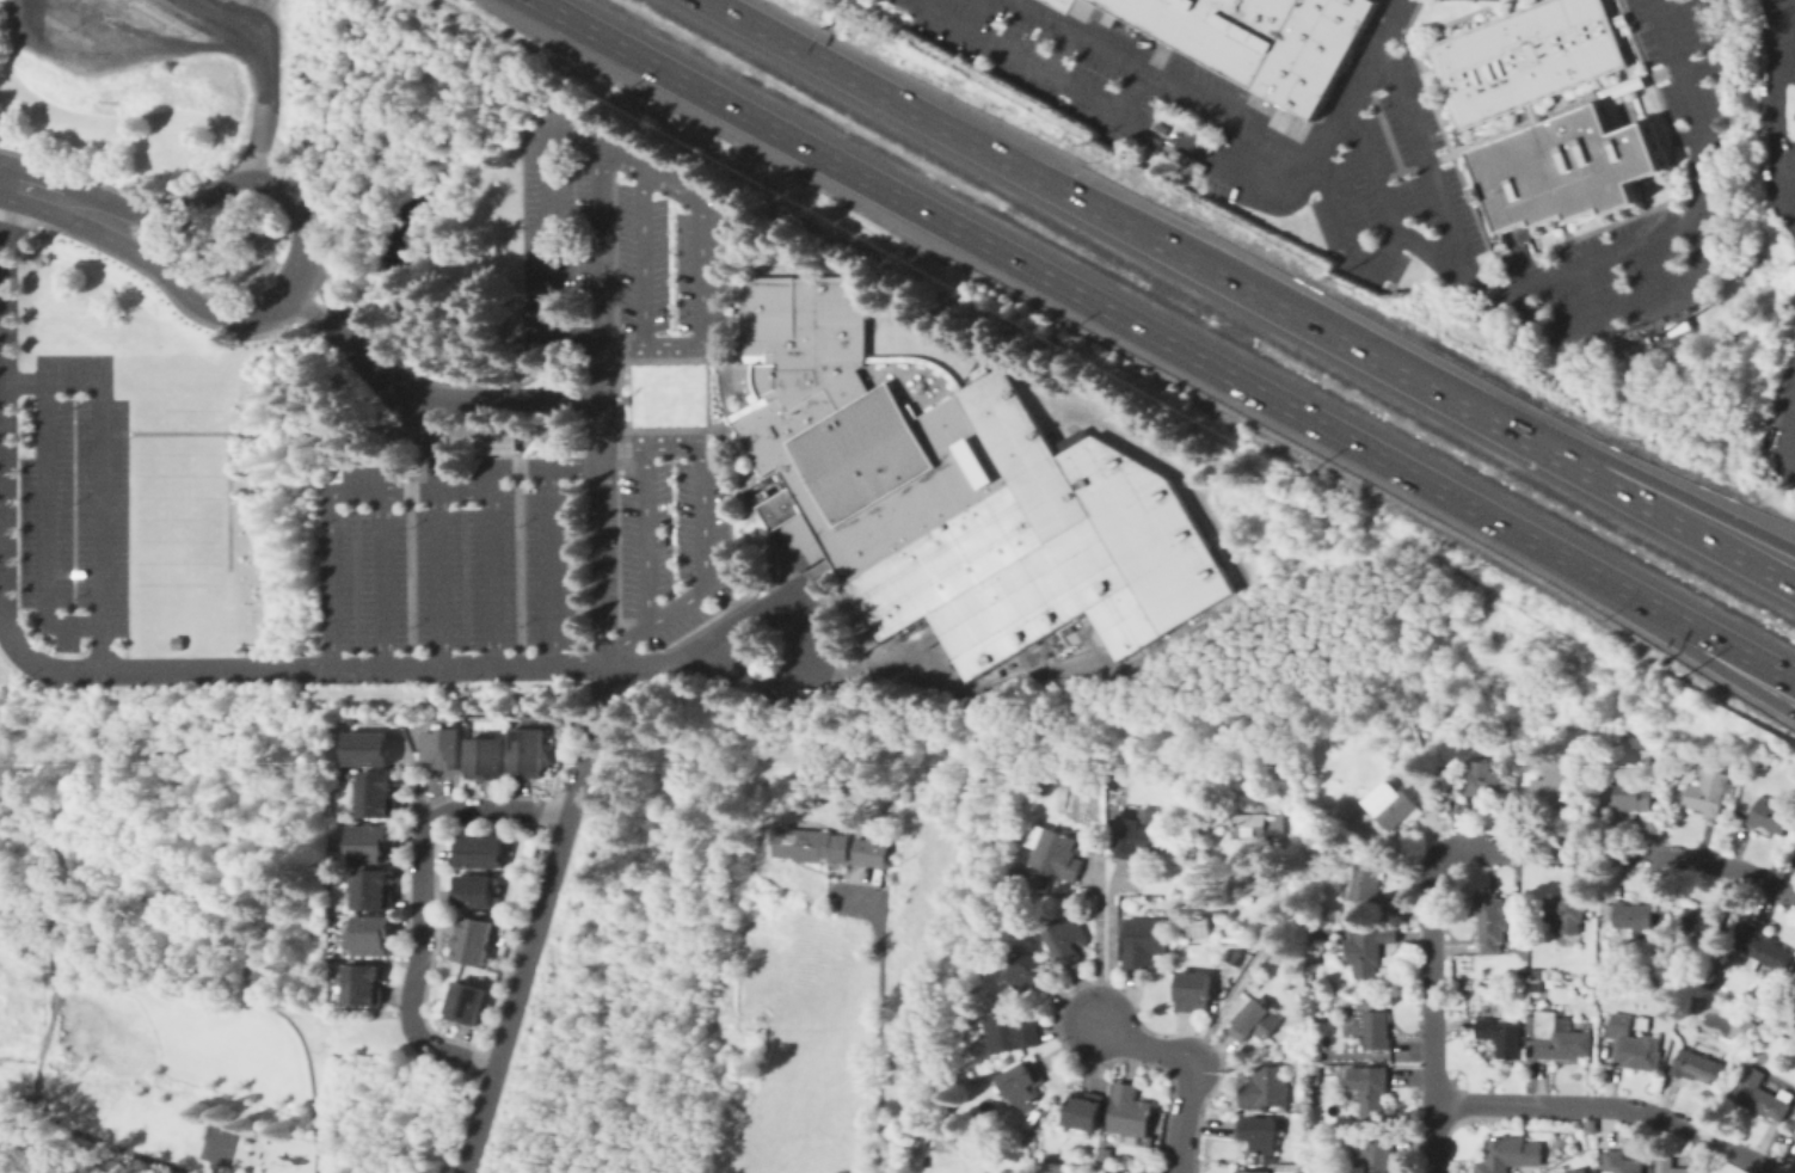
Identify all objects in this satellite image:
parking lot: (1480, 0)
road: (223, 18)
road: (115, 25)
building: (1250, 37)
road: (1723, 49)
road: (1057, 53)
road: (146, 54)
road: (1783, 63)
road: (1027, 66)
parking lot: (1791, 82)
parking lot: (1115, 88)
road: (266, 108)
road: (1772, 109)
building: (1479, 111)
road: (1229, 118)
road: (1321, 151)
parking lot: (1705, 173)
road: (1785, 177)
road: (1794, 178)
road: (0, 180)
road: (2, 183)
road: (1051, 184)
parking lot: (1393, 184)
road: (1383, 197)
road: (549, 233)
road: (171, 244)
road: (299, 248)
road: (1012, 254)
road: (1524, 257)
road: (646, 258)
road: (1596, 258)
road: (701, 264)
road: (321, 288)
road: (308, 309)
road: (1592, 318)
road: (654, 360)
road: (502, 395)
road: (622, 401)
road: (406, 403)
road: (603, 407)
building: (336, 432)
road: (419, 434)
building: (506, 435)
road: (1598, 453)
road: (549, 466)
road: (103, 473)
road: (1596, 477)
road: (454, 491)
road: (371, 492)
building: (755, 492)
building: (961, 495)
road: (229, 499)
road: (48, 526)
road: (703, 533)
road: (651, 536)
road: (522, 547)
building: (773, 548)
road: (411, 549)
road: (1563, 557)
road: (496, 565)
road: (551, 565)
road: (385, 578)
road: (443, 578)
road: (333, 579)
road: (2, 581)
building: (856, 619)
road: (5, 627)
building: (174, 641)
road: (1722, 643)
road: (270, 665)
road: (1716, 665)
road: (603, 680)
road: (947, 683)
road: (600, 710)
building: (373, 747)
building: (444, 749)
road: (142, 750)
building: (529, 750)
building: (490, 757)
building: (1482, 780)
building: (1554, 786)
building: (1039, 788)
building: (892, 790)
building: (1729, 790)
building: (1707, 792)
building: (380, 793)
building: (1630, 796)
building: (1318, 803)
building: (1391, 804)
building: (1347, 805)
road: (283, 806)
building: (1769, 816)
building: (892, 818)
building: (1258, 824)
building: (1167, 835)
building: (1133, 836)
building: (373, 842)
building: (810, 846)
building: (480, 852)
building: (1053, 852)
road: (1619, 852)
building: (872, 854)
building: (1018, 874)
building: (1256, 879)
building: (1366, 883)
building: (375, 889)
road: (164, 891)
building: (473, 891)
road: (419, 898)
road: (434, 903)
building: (1567, 911)
building: (1631, 915)
building: (1492, 920)
building: (1704, 921)
building: (1199, 925)
building: (1321, 932)
building: (1182, 933)
building: (375, 934)
road: (44, 939)
building: (1069, 939)
building: (473, 940)
road: (1107, 941)
building: (1145, 941)
road: (505, 944)
road: (530, 948)
building: (1759, 948)
building: (1369, 950)
building: (1229, 953)
building: (1238, 956)
park: (189, 962)
building: (1609, 970)
building: (1031, 972)
building: (1536, 972)
building: (1488, 974)
building: (1793, 976)
road: (1084, 982)
building: (1557, 982)
building: (365, 984)
building: (1537, 987)
building: (1195, 991)
building: (1661, 995)
building: (468, 1003)
road: (1436, 1013)
road: (289, 1022)
building: (1750, 1024)
road: (877, 1025)
building: (1255, 1025)
building: (1377, 1030)
building: (1013, 1032)
road: (44, 1034)
building: (1501, 1036)
building: (1559, 1038)
building: (1633, 1045)
road: (1191, 1064)
building: (1697, 1065)
building: (1314, 1074)
building: (1025, 1085)
building: (1367, 1088)
building: (1267, 1089)
building: (1785, 1093)
building: (1760, 1100)
building: (1302, 1106)
road: (1612, 1108)
building: (1794, 1110)
building: (1086, 1111)
building: (1131, 1112)
building: (1588, 1125)
building: (1794, 1134)
road: (93, 1136)
building: (1260, 1136)
park: (232, 1148)
building: (942, 1148)
building: (1373, 1153)
building: (1505, 1153)
building: (1106, 1155)
building: (1050, 1159)
building: (1617, 1161)
building: (1670, 1166)
building: (1556, 1167)
building: (1247, 1171)

